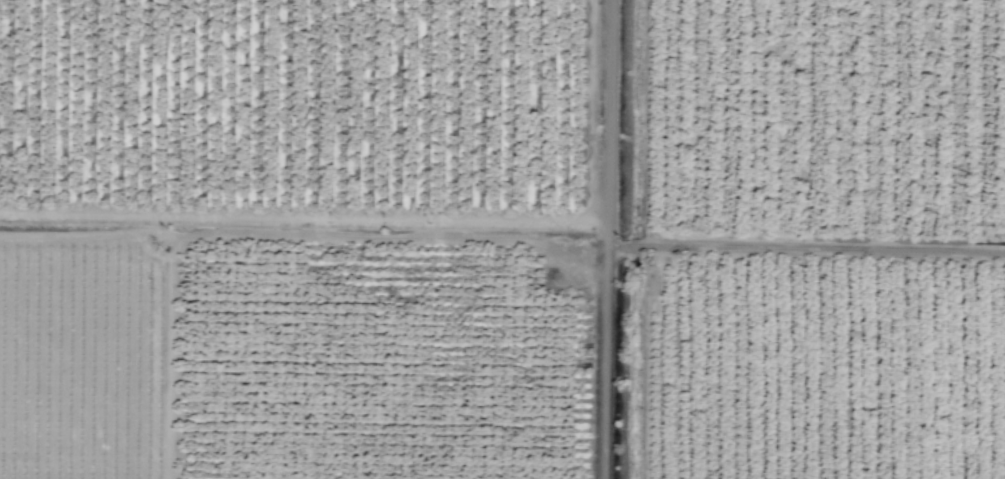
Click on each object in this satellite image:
road: (610, 239)
road: (807, 249)

